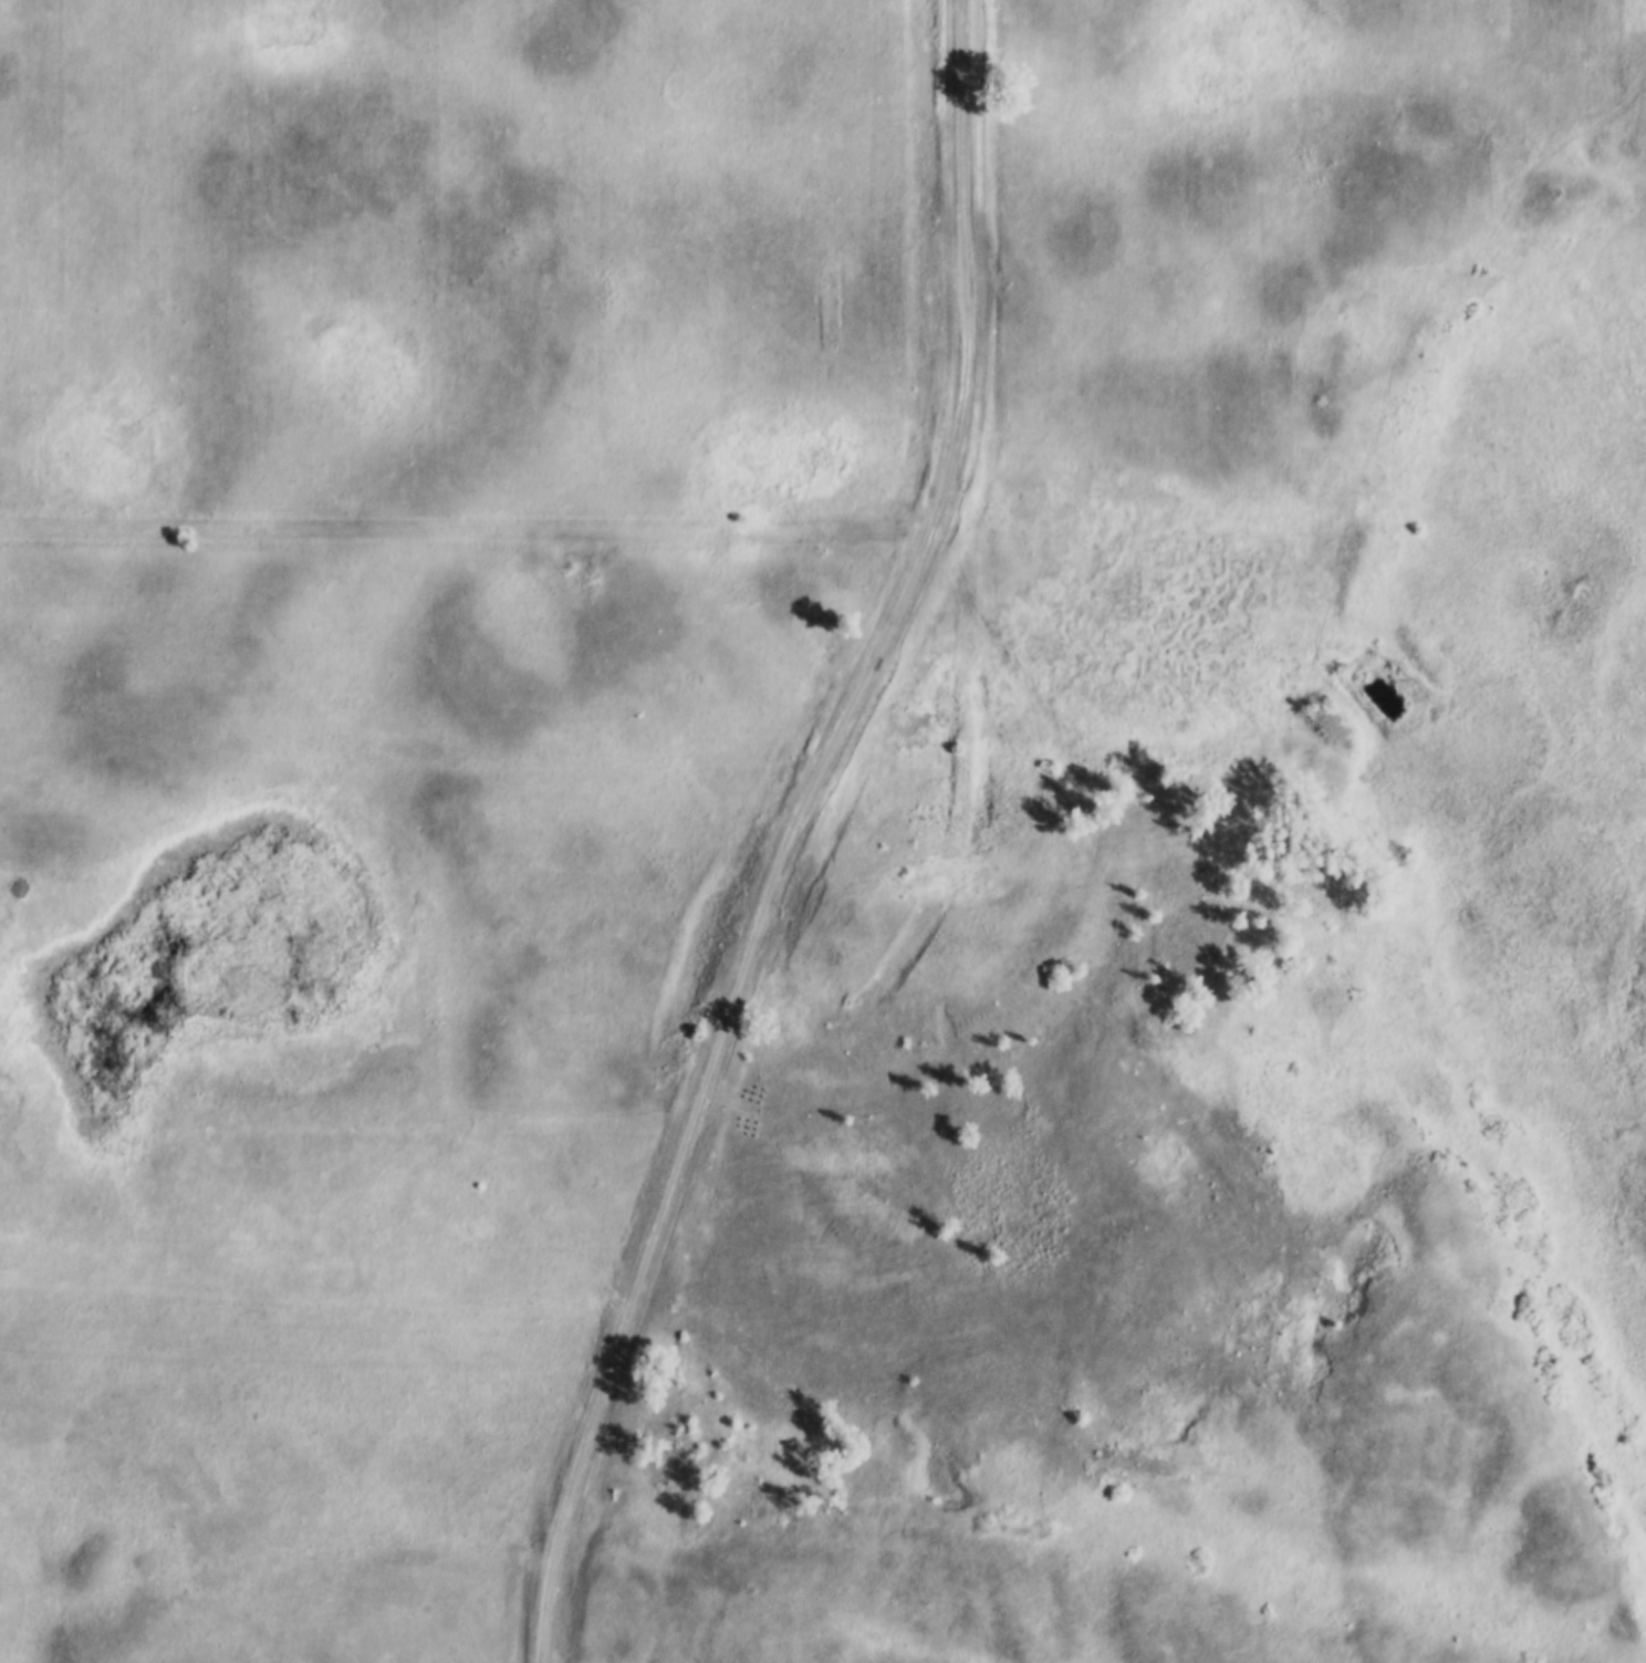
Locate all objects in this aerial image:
road: (467, 523)
road: (792, 833)

